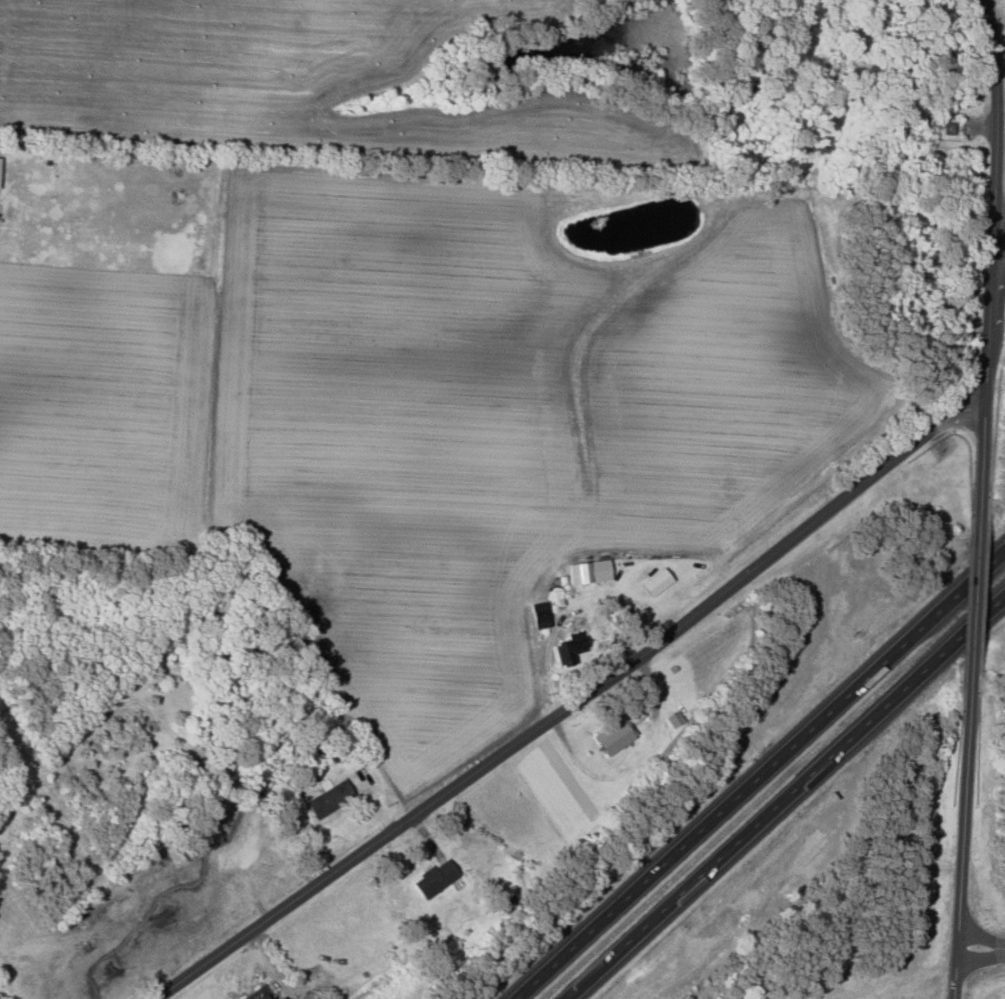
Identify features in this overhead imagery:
road: (995, 115)
road: (1001, 231)
road: (991, 317)
road: (982, 450)
building: (587, 572)
building: (653, 582)
road: (975, 598)
building: (539, 615)
building: (567, 648)
road: (571, 703)
building: (611, 737)
road: (765, 774)
building: (326, 800)
road: (790, 801)
road: (963, 849)
building: (244, 856)
building: (433, 878)
road: (982, 946)
building: (255, 993)
building: (278, 998)

